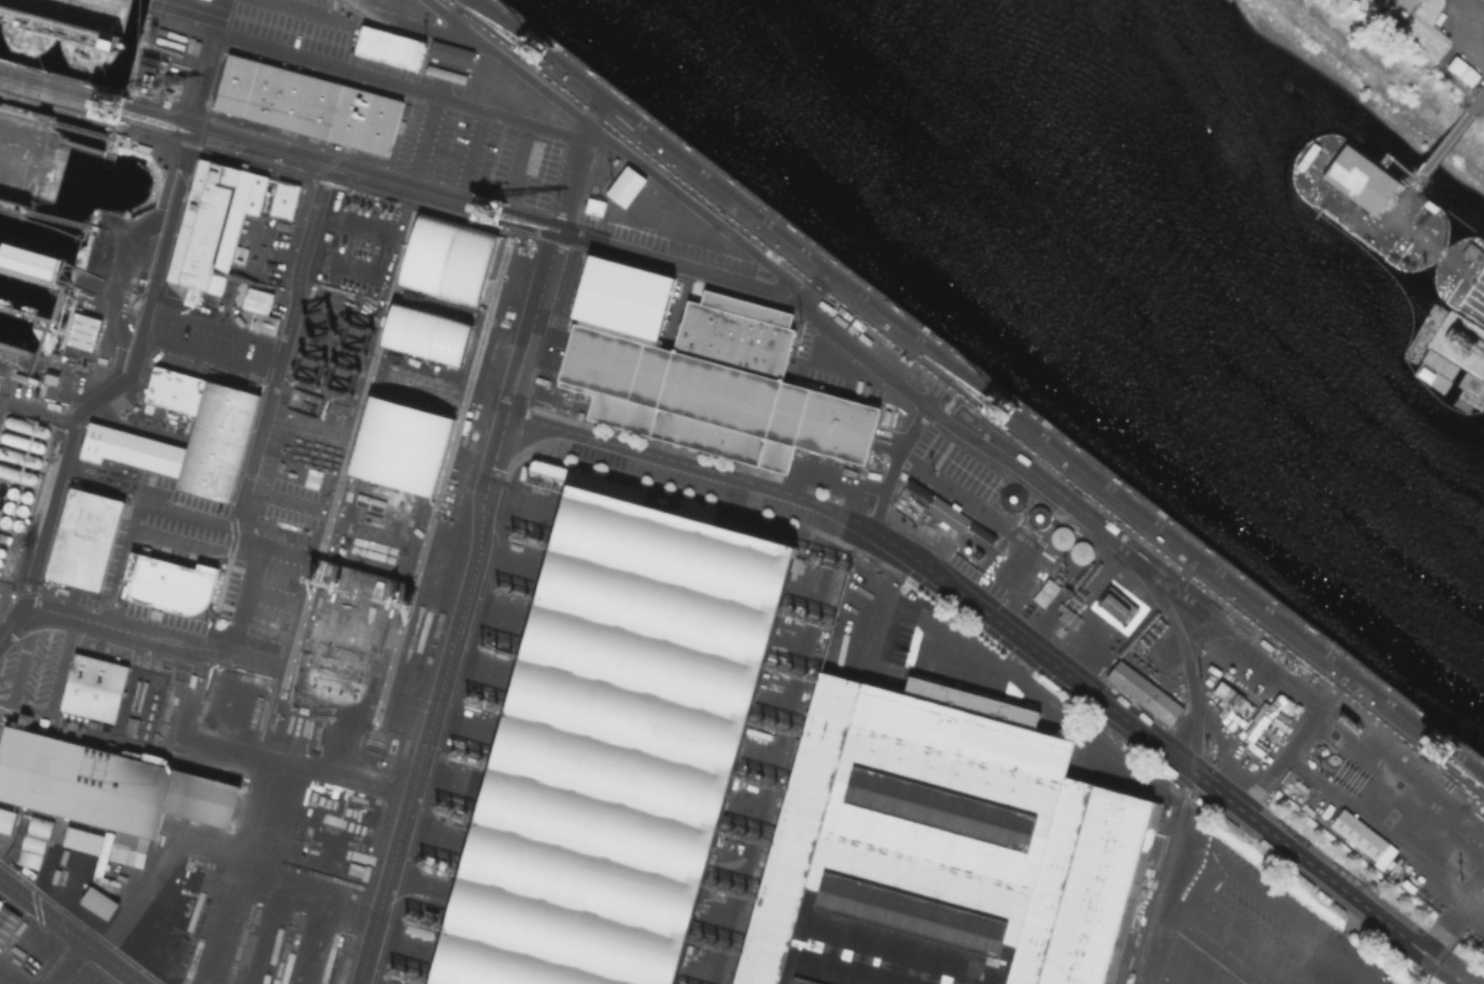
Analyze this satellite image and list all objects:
building: (379, 3)
building: (1395, 4)
road: (1474, 7)
road: (362, 12)
building: (388, 46)
road: (449, 61)
road: (400, 86)
pier: (58, 91)
building: (495, 95)
building: (307, 104)
building: (142, 141)
road: (616, 146)
building: (603, 168)
railway: (384, 171)
building: (1361, 178)
building: (624, 184)
railway: (382, 192)
pier: (1375, 196)
building: (593, 204)
building: (656, 207)
building: (221, 219)
building: (1470, 250)
building: (101, 253)
building: (447, 258)
road: (546, 268)
pier: (1462, 277)
building: (256, 299)
road: (142, 313)
railway: (812, 315)
road: (890, 317)
pier: (34, 320)
building: (262, 322)
road: (213, 323)
building: (431, 323)
building: (83, 330)
road: (36, 351)
road: (204, 355)
building: (703, 374)
railway: (986, 383)
railway: (969, 396)
road: (262, 411)
building: (219, 432)
building: (1102, 437)
road: (904, 442)
building: (399, 445)
road: (696, 464)
building: (947, 513)
building: (1038, 516)
building: (1061, 536)
building: (83, 537)
building: (1081, 553)
building: (1019, 569)
building: (167, 581)
road: (1165, 596)
building: (1336, 616)
road: (131, 632)
building: (93, 685)
building: (1143, 692)
road: (426, 697)
building: (977, 699)
road: (1078, 729)
road: (1149, 739)
road: (1292, 739)
building: (611, 745)
building: (106, 783)
building: (1418, 818)
building: (6, 819)
road: (802, 827)
building: (1362, 837)
building: (82, 839)
building: (33, 841)
building: (103, 850)
building: (935, 850)
road: (1174, 883)
building: (98, 901)
building: (0, 902)
road: (1451, 904)
building: (7, 922)
road: (72, 929)
road: (1240, 937)
building: (152, 950)
road: (66, 961)
road: (1443, 965)

